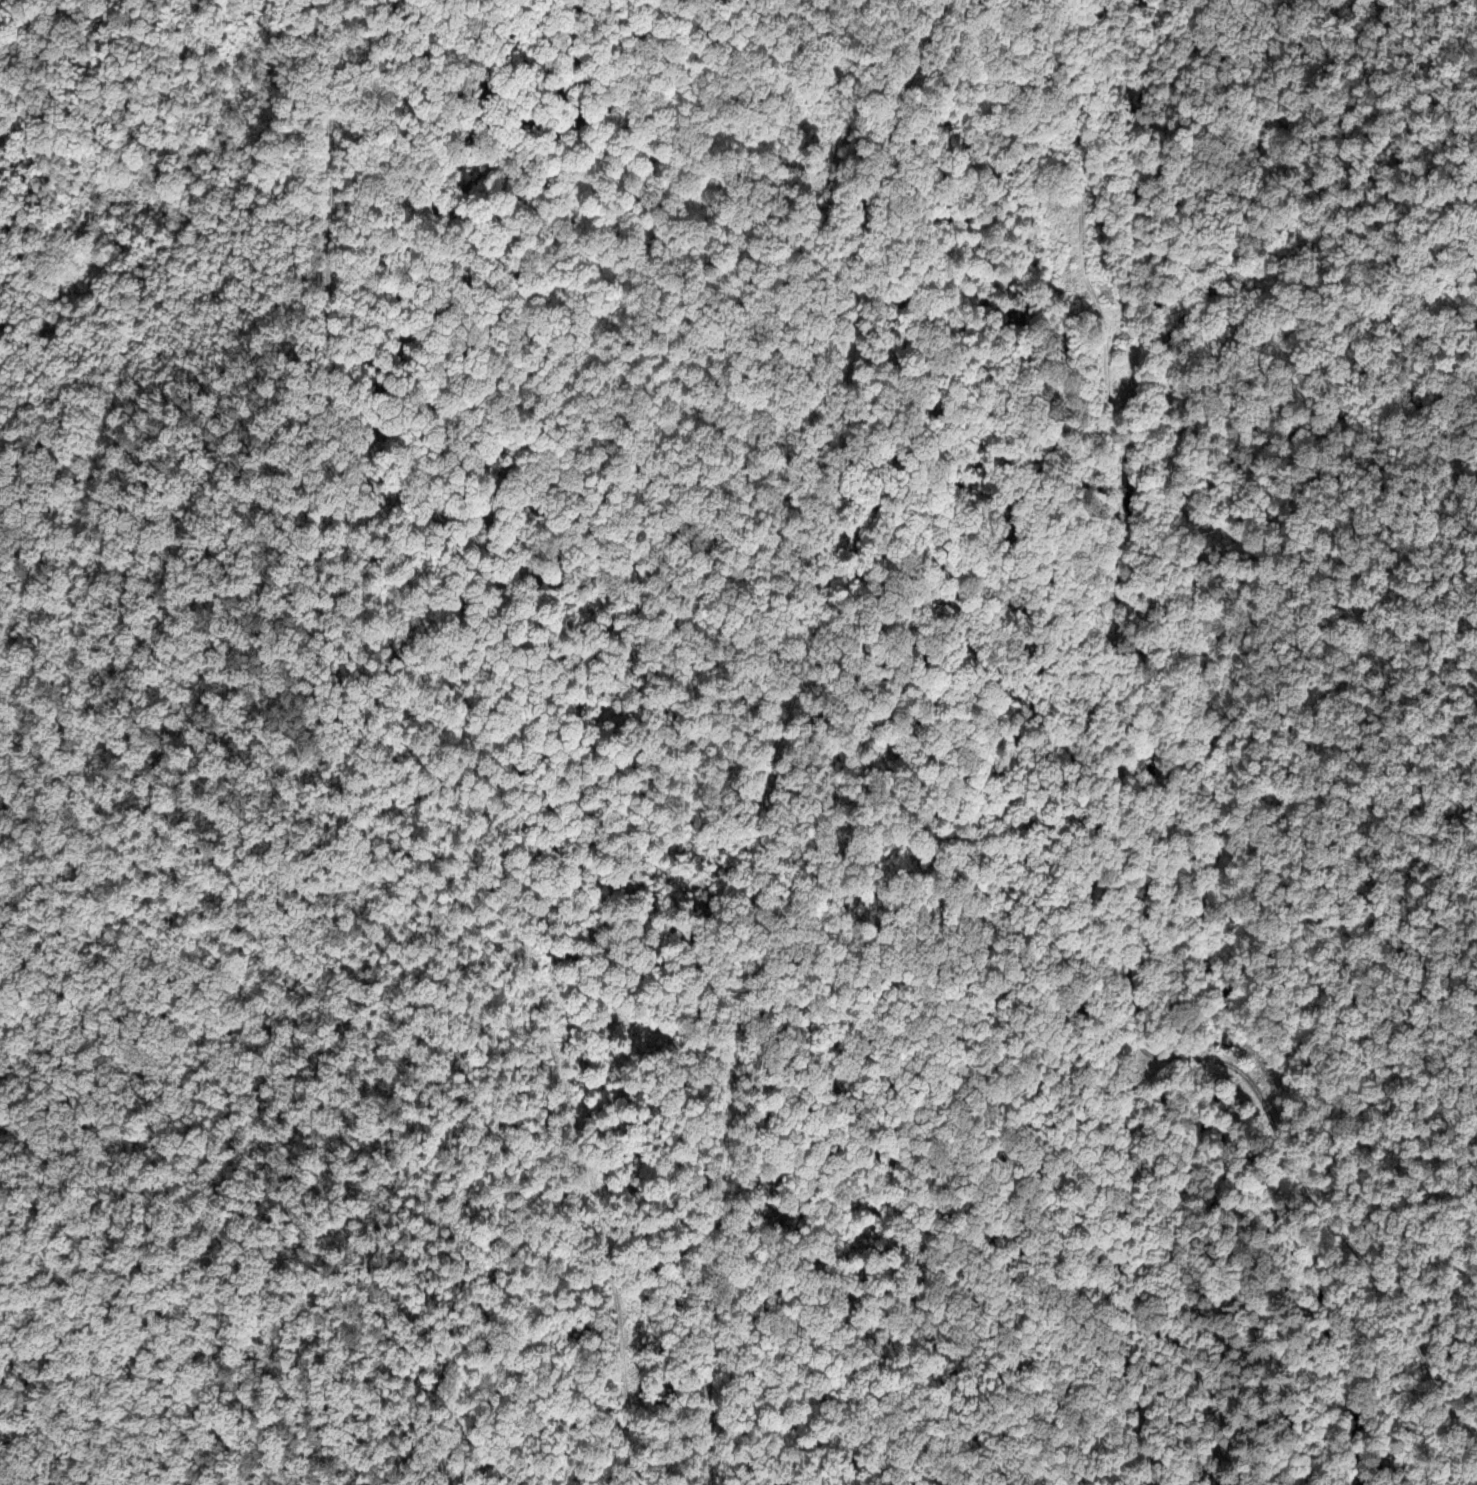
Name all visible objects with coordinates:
road: (739, 732)
road: (464, 739)
road: (1126, 801)

